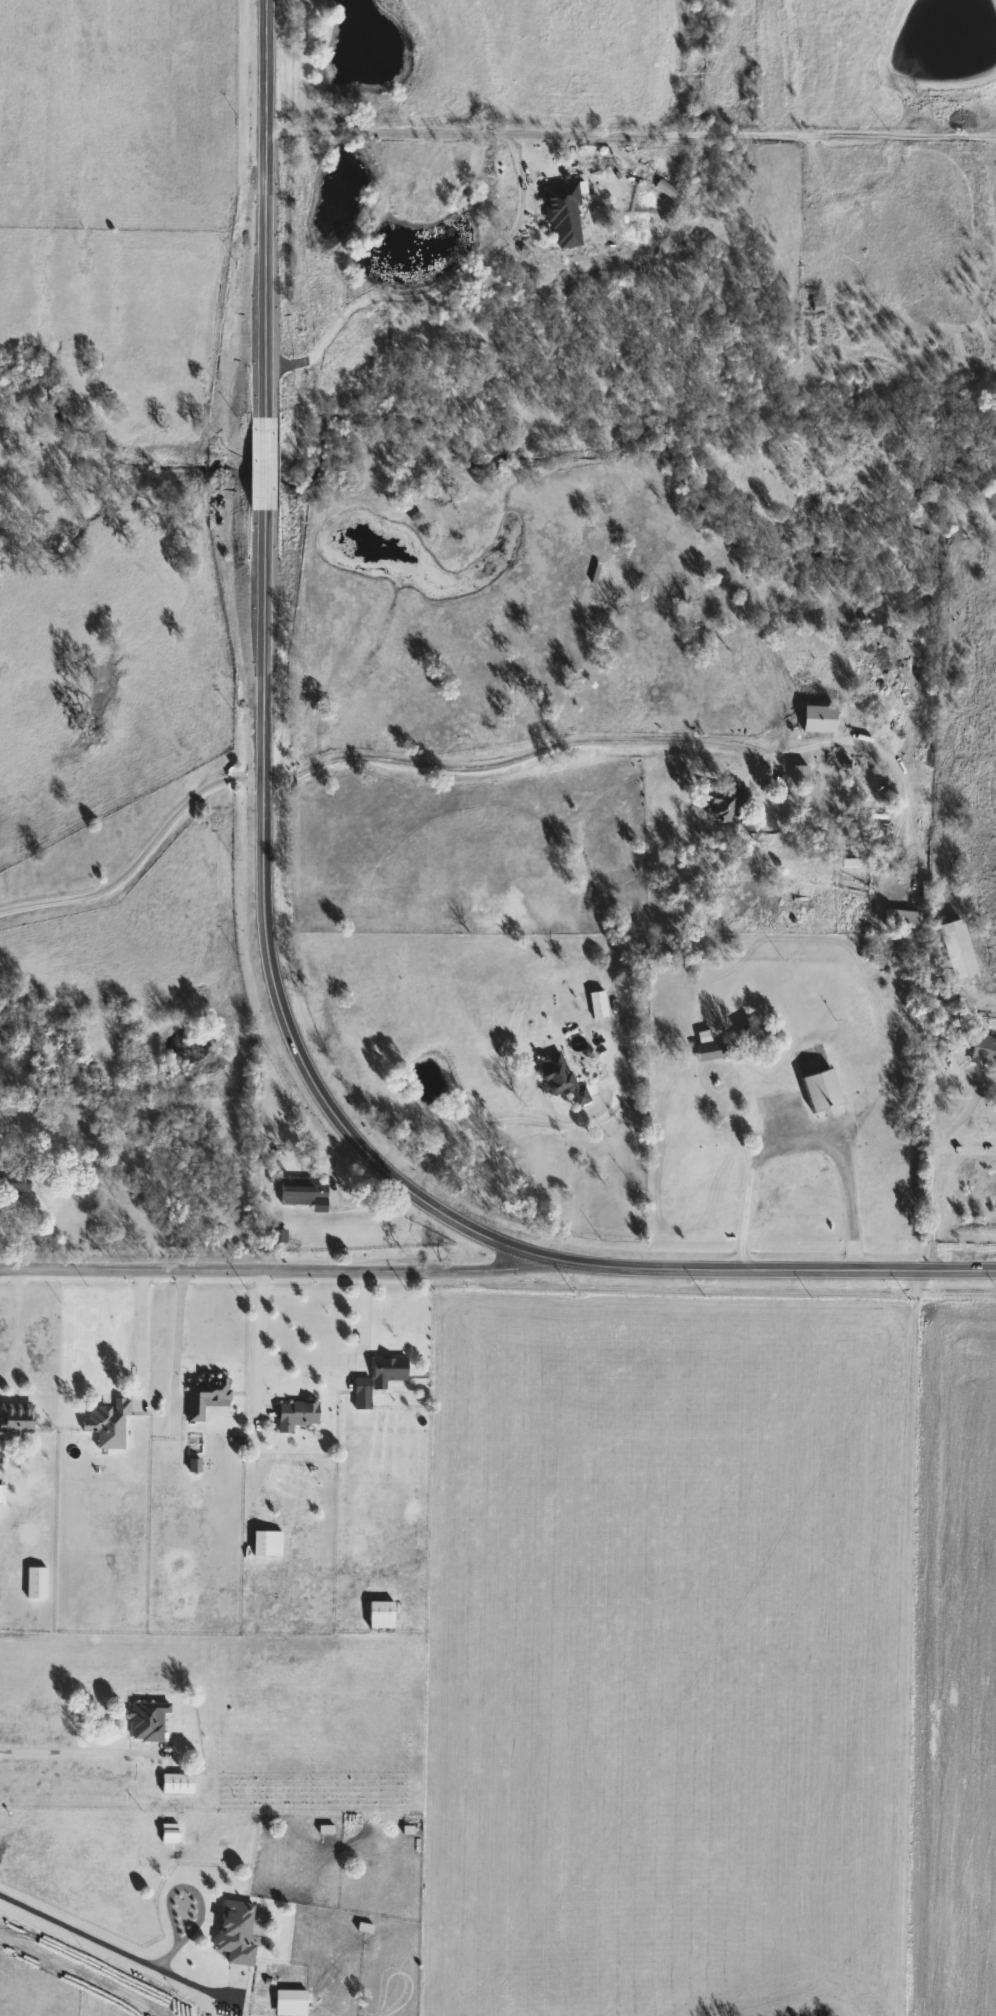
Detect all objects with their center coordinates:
road: (629, 135)
building: (559, 215)
road: (391, 299)
building: (814, 308)
building: (815, 720)
road: (522, 757)
building: (796, 777)
building: (721, 808)
road: (139, 858)
road: (262, 921)
building: (952, 950)
building: (594, 1005)
building: (745, 1034)
building: (980, 1051)
building: (558, 1079)
building: (814, 1089)
road: (729, 1117)
road: (469, 1127)
road: (799, 1153)
road: (330, 1165)
building: (298, 1191)
road: (933, 1203)
road: (270, 1280)
road: (139, 1338)
road: (255, 1338)
road: (176, 1347)
building: (374, 1379)
building: (203, 1397)
building: (292, 1415)
building: (15, 1419)
building: (104, 1424)
building: (262, 1543)
building: (32, 1583)
building: (376, 1615)
building: (142, 1722)
road: (72, 1750)
building: (173, 1783)
road: (197, 1897)
building: (232, 1932)
road: (110, 1948)
building: (286, 2003)

